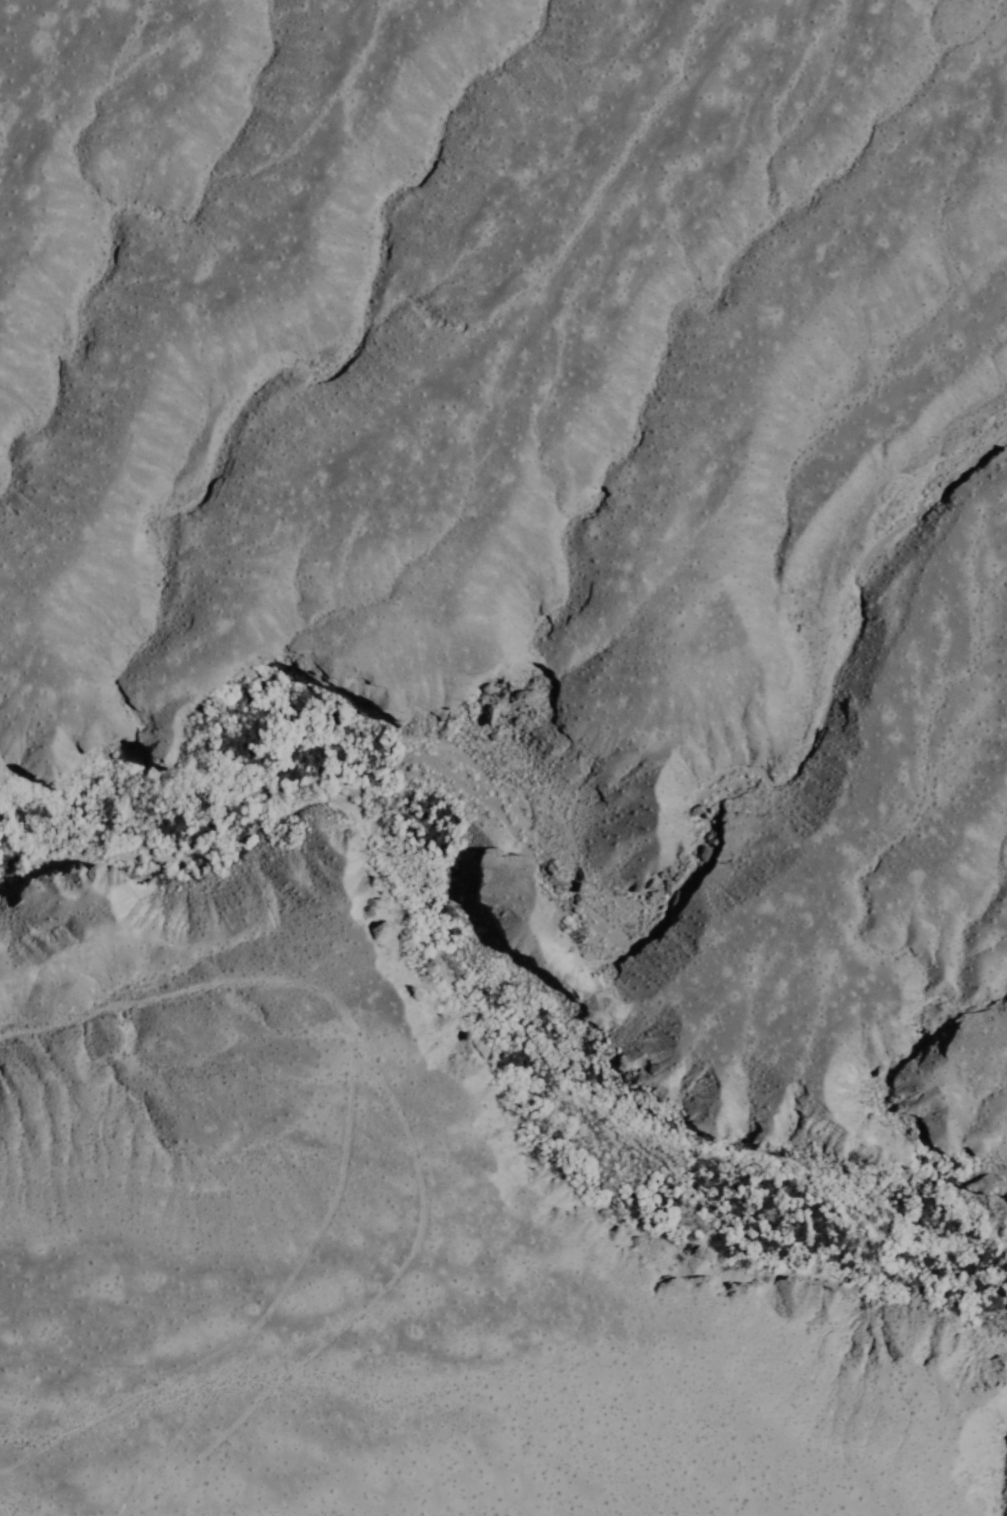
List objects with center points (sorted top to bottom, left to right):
building: (704, 1252)

